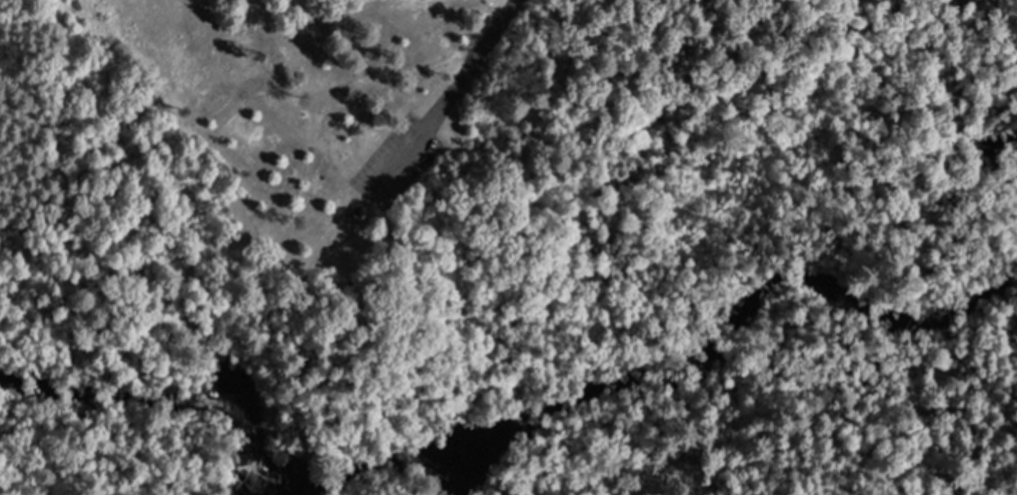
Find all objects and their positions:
road: (438, 99)
river: (991, 154)
parking lot: (391, 165)
park: (508, 247)
river: (501, 426)

